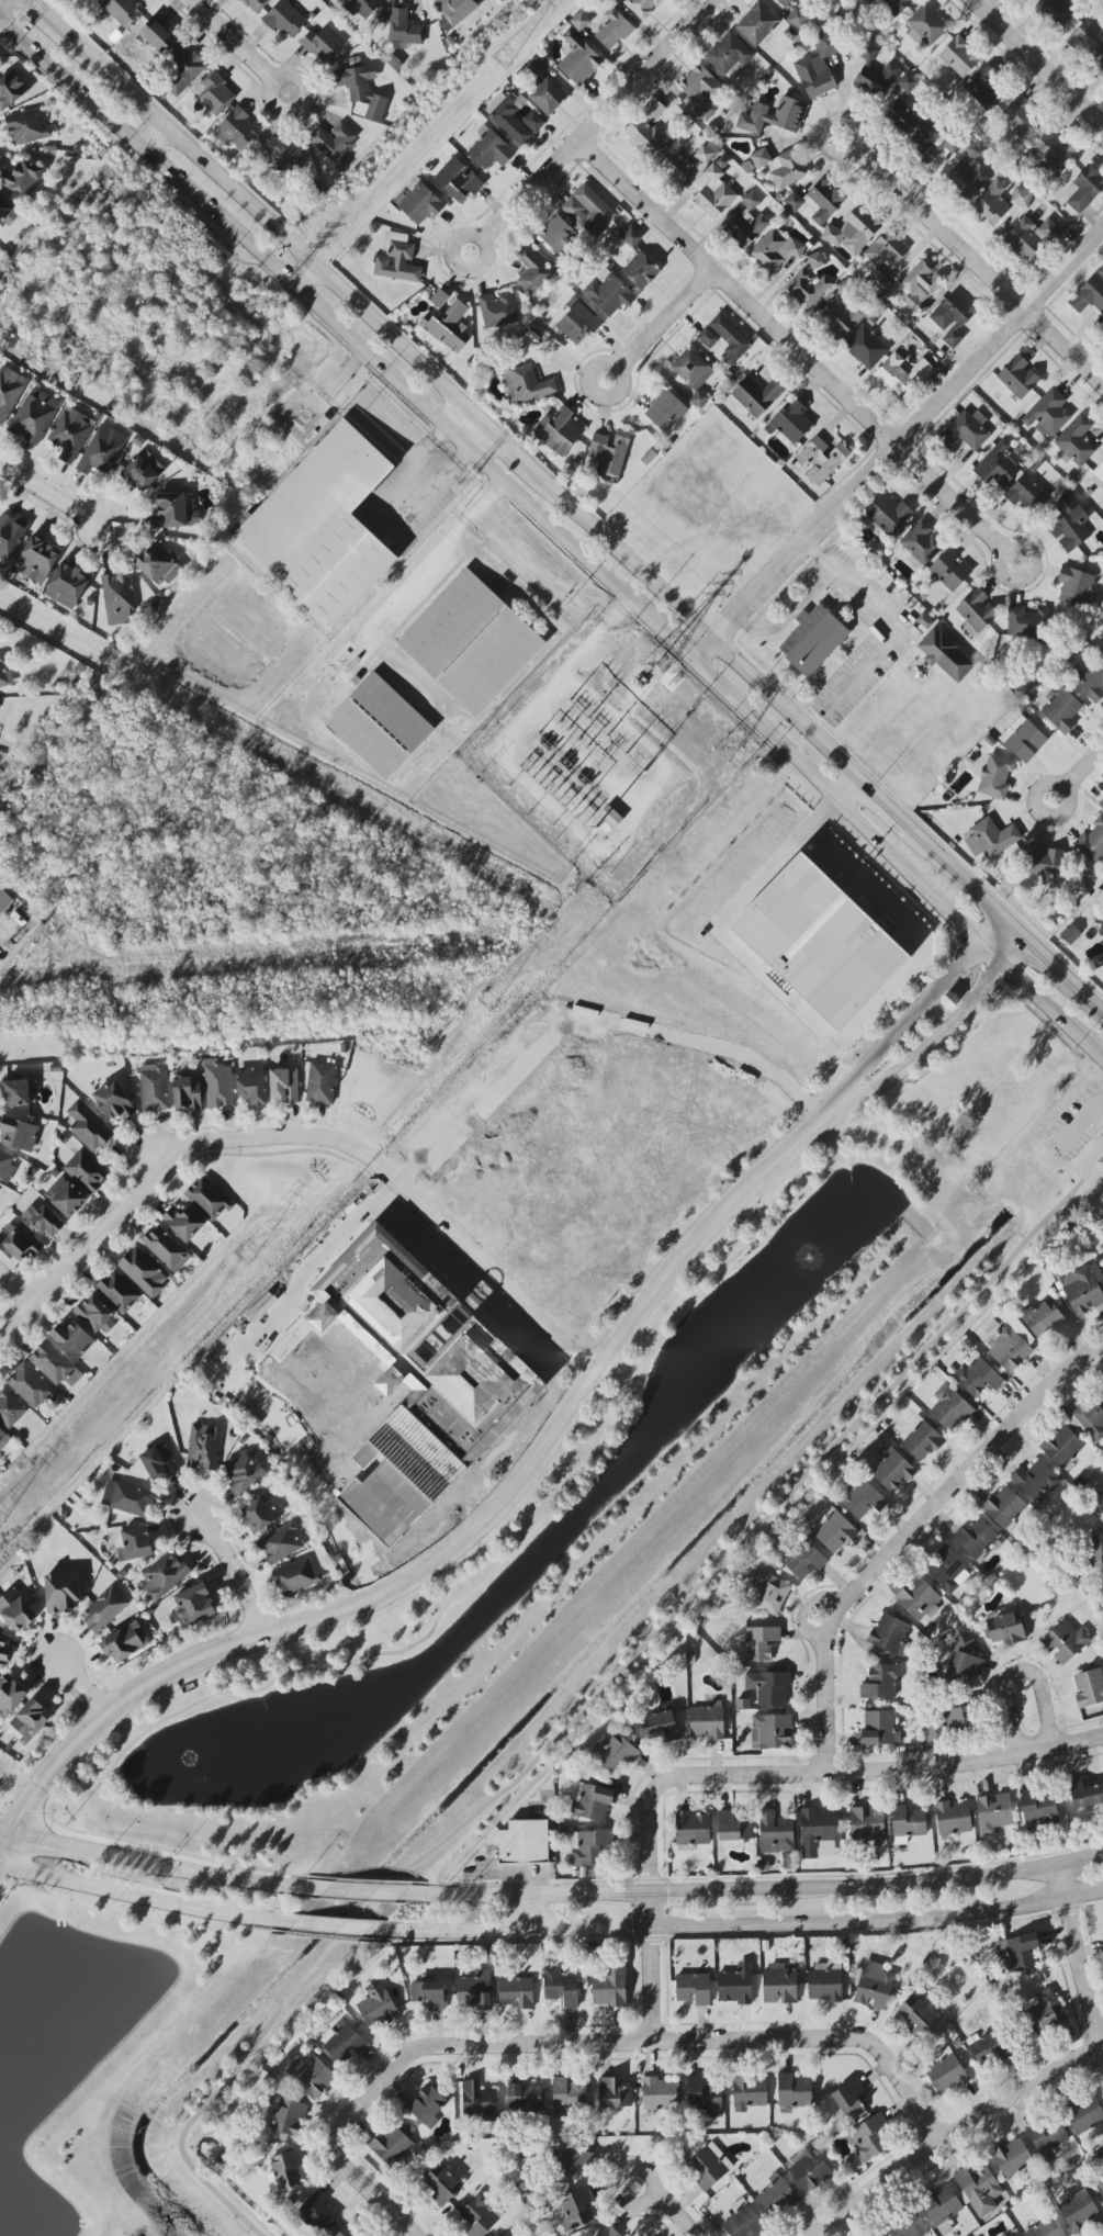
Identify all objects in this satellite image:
road: (4, 4)
building: (255, 4)
building: (896, 5)
building: (363, 7)
building: (641, 7)
building: (457, 10)
building: (122, 11)
building: (1054, 12)
building: (795, 14)
building: (284, 19)
building: (579, 21)
building: (757, 23)
building: (925, 26)
road: (55, 27)
building: (404, 27)
building: (612, 30)
building: (157, 35)
building: (1088, 40)
road: (232, 42)
building: (323, 44)
building: (729, 55)
building: (578, 59)
building: (958, 59)
road: (1038, 60)
power tower: (499, 61)
building: (818, 67)
building: (1101, 68)
building: (181, 71)
building: (874, 74)
road: (274, 83)
building: (907, 83)
building: (700, 86)
building: (361, 89)
building: (544, 90)
building: (12, 91)
building: (983, 91)
building: (213, 93)
building: (653, 110)
building: (705, 111)
building: (773, 115)
building: (901, 117)
building: (1021, 117)
road: (598, 120)
building: (533, 122)
road: (831, 124)
building: (27, 127)
building: (236, 130)
building: (643, 136)
road: (150, 137)
building: (333, 141)
building: (930, 143)
building: (489, 149)
building: (1053, 149)
building: (704, 154)
building: (283, 156)
building: (761, 158)
building: (673, 161)
building: (788, 169)
building: (969, 173)
building: (22, 178)
building: (458, 180)
building: (1083, 189)
building: (712, 192)
building: (1021, 198)
building: (751, 200)
building: (818, 201)
building: (420, 203)
building: (991, 204)
building: (4, 212)
building: (589, 212)
building: (746, 227)
building: (853, 232)
building: (558, 234)
road: (282, 237)
building: (1031, 238)
road: (483, 239)
building: (886, 249)
building: (774, 250)
building: (815, 260)
building: (398, 263)
building: (639, 263)
road: (980, 267)
building: (532, 271)
road: (304, 279)
building: (877, 281)
building: (919, 284)
building: (807, 290)
building: (608, 293)
building: (1089, 295)
building: (438, 297)
power tower: (269, 302)
road: (316, 311)
building: (496, 311)
building: (841, 318)
building: (952, 318)
road: (664, 319)
building: (578, 324)
building: (448, 326)
building: (708, 338)
building: (730, 338)
road: (789, 344)
building: (866, 347)
road: (618, 370)
building: (691, 372)
building: (901, 373)
building: (1018, 378)
building: (527, 385)
building: (9, 393)
building: (757, 396)
building: (665, 411)
building: (1048, 415)
building: (34, 416)
building: (791, 422)
road: (470, 430)
building: (558, 431)
building: (965, 431)
building: (70, 435)
building: (1074, 442)
road: (896, 443)
road: (507, 445)
building: (102, 450)
building: (610, 451)
building: (823, 459)
building: (998, 465)
building: (140, 473)
road: (423, 474)
building: (1098, 475)
building: (1026, 494)
road: (50, 495)
building: (173, 513)
building: (889, 515)
building: (1068, 524)
building: (323, 526)
building: (11, 535)
road: (450, 537)
building: (921, 542)
road: (999, 548)
building: (40, 555)
building: (158, 565)
building: (950, 570)
building: (67, 585)
building: (1074, 586)
building: (119, 599)
building: (977, 610)
building: (1026, 622)
road: (699, 627)
road: (662, 631)
road: (902, 631)
building: (813, 640)
building: (471, 643)
building: (1101, 649)
road: (588, 653)
building: (945, 655)
power tower: (657, 662)
building: (5, 677)
building: (1089, 681)
building: (1061, 710)
building: (380, 727)
building: (1023, 739)
power tower: (731, 750)
power substation: (609, 754)
road: (1083, 769)
building: (995, 777)
road: (1062, 789)
road: (852, 796)
building: (1101, 804)
road: (887, 808)
building: (991, 839)
building: (1092, 842)
road: (896, 862)
building: (1044, 864)
road: (958, 877)
building: (4, 901)
building: (1100, 922)
building: (1070, 934)
road: (994, 935)
road: (721, 940)
building: (820, 942)
road: (924, 943)
road: (1044, 958)
road: (1092, 1002)
power tower: (484, 1009)
road: (588, 1020)
road: (898, 1033)
road: (932, 1044)
building: (320, 1083)
building: (251, 1085)
building: (283, 1085)
building: (217, 1086)
building: (154, 1089)
building: (18, 1092)
building: (187, 1092)
building: (113, 1101)
road: (1081, 1123)
parking lot: (1076, 1126)
building: (88, 1127)
building: (18, 1134)
road: (302, 1135)
road: (1099, 1139)
building: (1101, 1160)
building: (7, 1165)
building: (86, 1171)
building: (65, 1196)
building: (207, 1199)
building: (44, 1221)
building: (184, 1223)
building: (22, 1245)
building: (166, 1248)
power tower: (252, 1260)
building: (144, 1272)
road: (15, 1289)
building: (1082, 1291)
building: (117, 1292)
building: (94, 1315)
building: (1044, 1318)
building: (72, 1339)
building: (1010, 1341)
building: (50, 1363)
building: (978, 1377)
road: (230, 1382)
building: (418, 1383)
building: (31, 1386)
building: (10, 1408)
building: (950, 1408)
building: (1091, 1419)
building: (2, 1436)
building: (922, 1440)
building: (204, 1447)
building: (1062, 1447)
building: (158, 1463)
building: (892, 1470)
building: (244, 1473)
building: (1036, 1481)
building: (127, 1498)
building: (862, 1501)
building: (1100, 1506)
building: (1004, 1507)
building: (261, 1515)
power tower: (0, 1525)
building: (834, 1531)
road: (909, 1531)
building: (975, 1538)
building: (135, 1543)
building: (281, 1543)
road: (454, 1548)
building: (1095, 1551)
road: (506, 1558)
building: (804, 1561)
building: (948, 1570)
road: (234, 1571)
building: (164, 1576)
building: (295, 1576)
building: (1102, 1589)
building: (61, 1593)
building: (918, 1599)
building: (194, 1605)
building: (104, 1609)
building: (15, 1610)
building: (1006, 1628)
building: (889, 1634)
building: (125, 1642)
building: (1066, 1642)
building: (758, 1643)
building: (3, 1650)
building: (964, 1663)
road: (1020, 1673)
building: (880, 1682)
road: (79, 1683)
building: (768, 1687)
building: (1089, 1688)
road: (601, 1693)
building: (10, 1696)
building: (29, 1720)
building: (707, 1721)
building: (948, 1722)
building: (661, 1728)
building: (879, 1728)
building: (773, 1731)
fountain: (230, 1750)
building: (617, 1754)
road: (828, 1771)
building: (1084, 1794)
building: (590, 1801)
building: (1039, 1808)
building: (993, 1812)
building: (953, 1818)
building: (907, 1823)
building: (734, 1827)
building: (867, 1827)
building: (693, 1829)
building: (775, 1833)
building: (818, 1833)
road: (2, 1835)
road: (46, 1842)
building: (521, 1842)
building: (589, 1849)
road: (20, 1855)
road: (202, 1869)
road: (912, 1884)
road: (685, 1890)
road: (367, 1891)
road: (533, 1891)
road: (142, 1892)
road: (531, 1911)
road: (877, 1921)
road: (336, 1926)
road: (590, 1928)
road: (460, 1930)
road: (1079, 1946)
building: (1016, 1955)
road: (652, 1965)
building: (824, 1982)
building: (735, 1985)
building: (779, 1985)
building: (609, 1986)
building: (874, 1986)
building: (560, 1987)
building: (694, 1989)
building: (474, 1990)
building: (516, 1992)
building: (429, 1995)
building: (378, 2007)
building: (1044, 2013)
building: (916, 2014)
road: (583, 2042)
building: (344, 2043)
building: (988, 2049)
building: (946, 2072)
building: (312, 2075)
building: (795, 2090)
building: (749, 2092)
building: (659, 2093)
building: (614, 2094)
building: (525, 2097)
building: (567, 2097)
building: (705, 2097)
building: (477, 2099)
building: (849, 2100)
building: (427, 2104)
building: (289, 2117)
building: (1085, 2117)
road: (958, 2134)
building: (1047, 2137)
building: (869, 2138)
building: (391, 2146)
building: (1011, 2158)
building: (571, 2164)
building: (709, 2166)
building: (286, 2169)
building: (809, 2169)
building: (442, 2186)
building: (979, 2189)
building: (1100, 2189)
building: (777, 2195)
road: (634, 2204)
building: (942, 2205)
building: (576, 2209)
building: (1079, 2211)
building: (318, 2212)
road: (676, 2214)
building: (480, 2215)
building: (743, 2221)
building: (908, 2226)
building: (1044, 2228)
building: (348, 2232)
building: (608, 2232)
building: (511, 2233)
road: (418, 2234)

